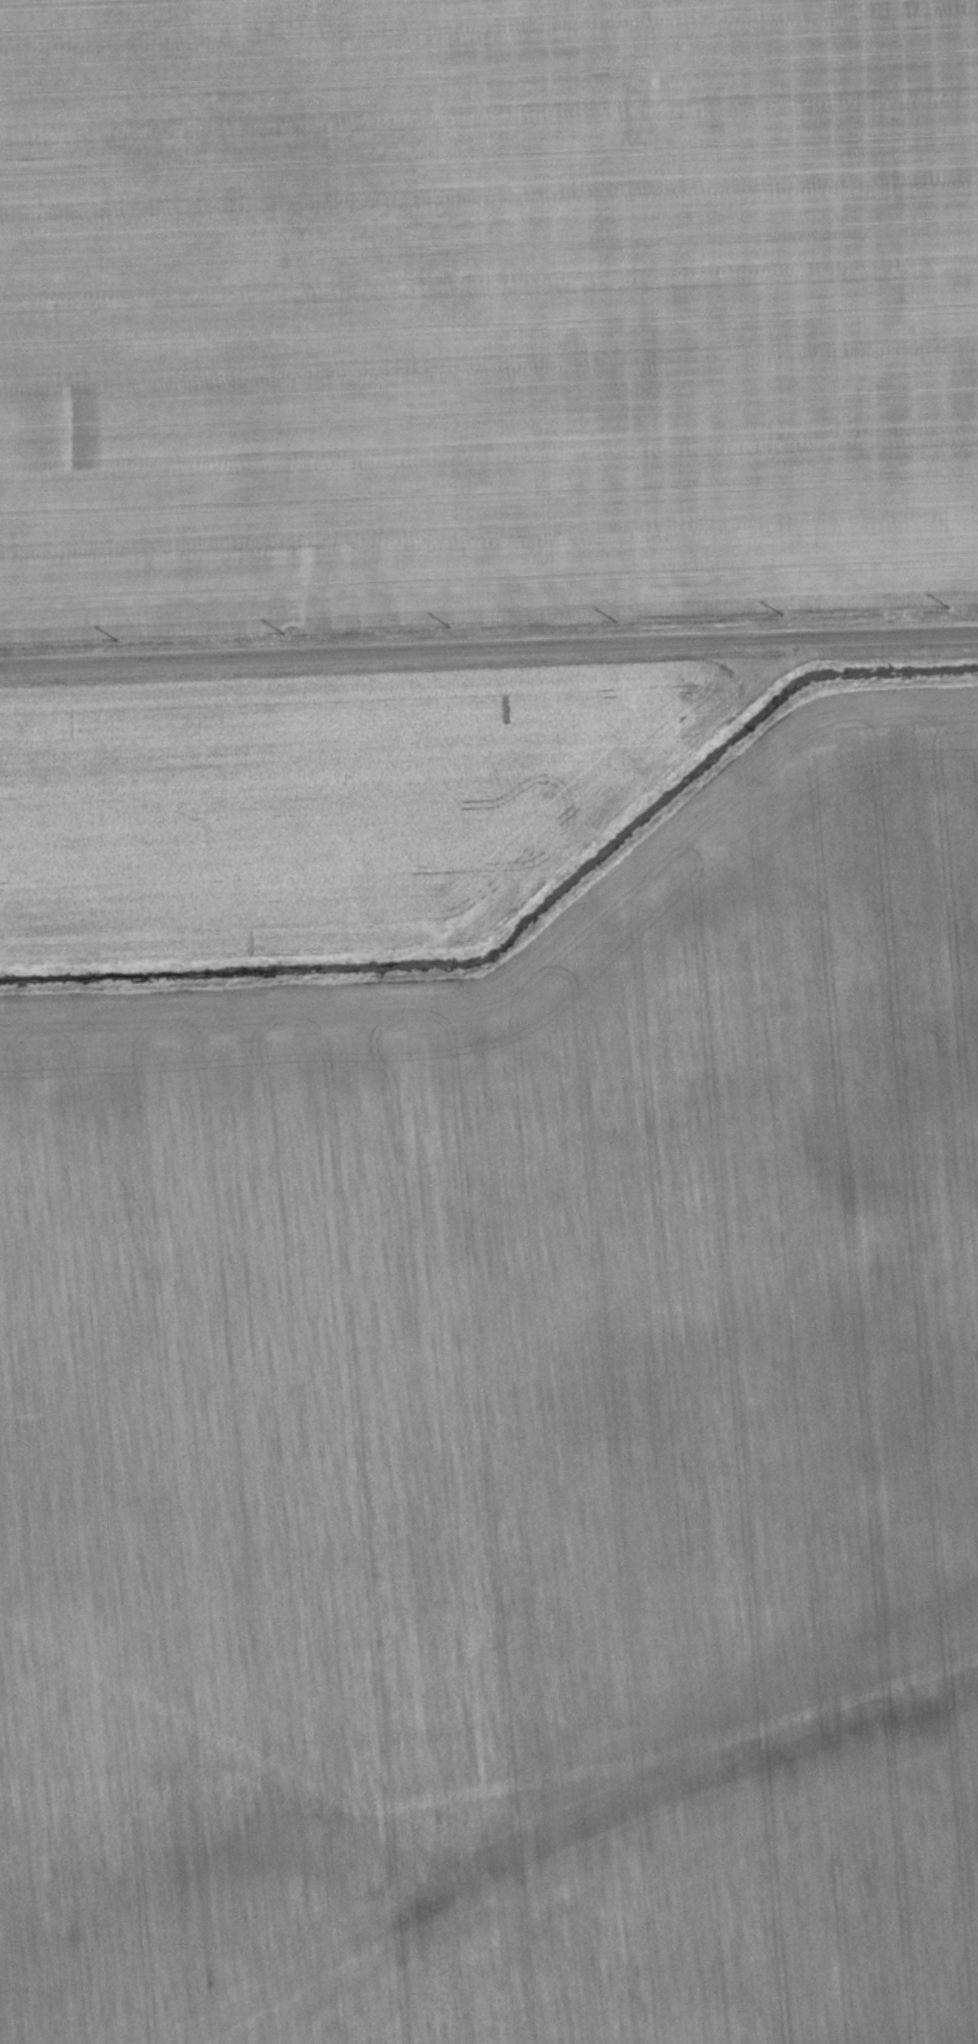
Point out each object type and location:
road: (489, 652)

